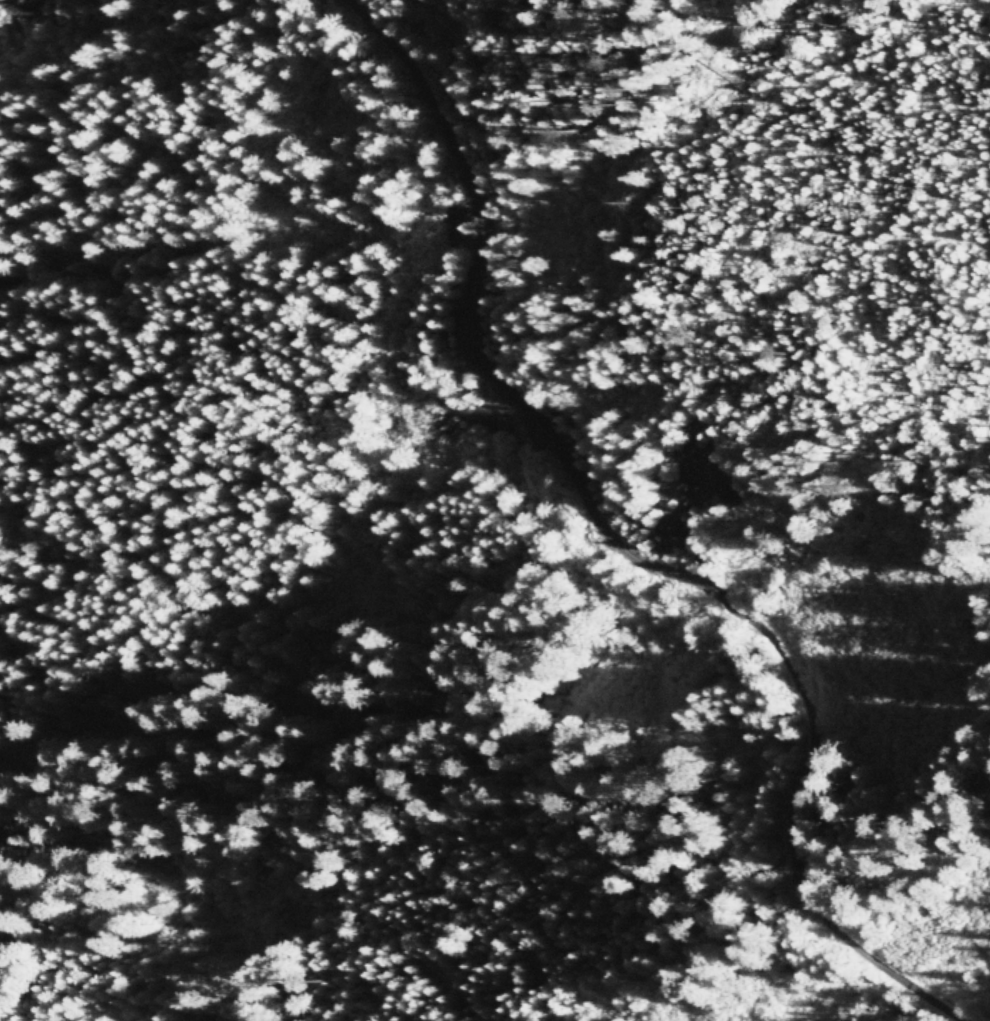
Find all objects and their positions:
road: (619, 548)

